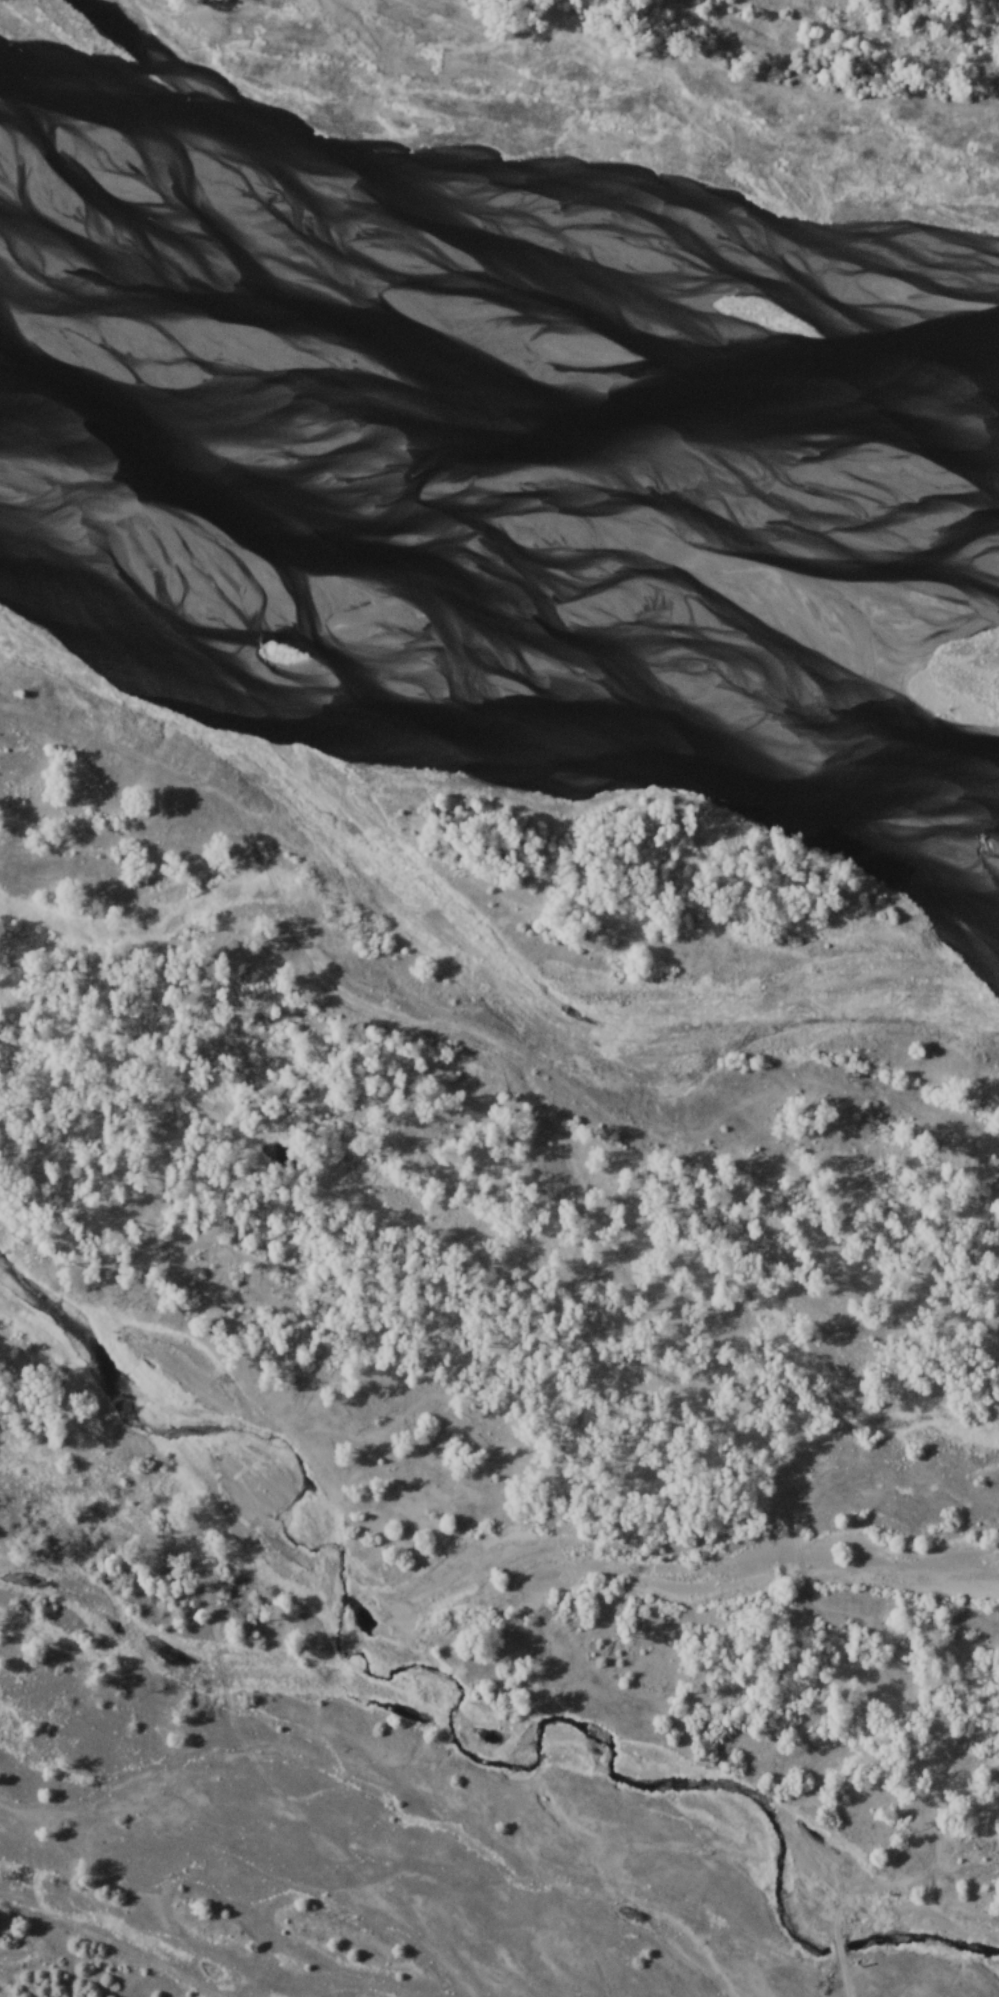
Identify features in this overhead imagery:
river: (494, 494)

